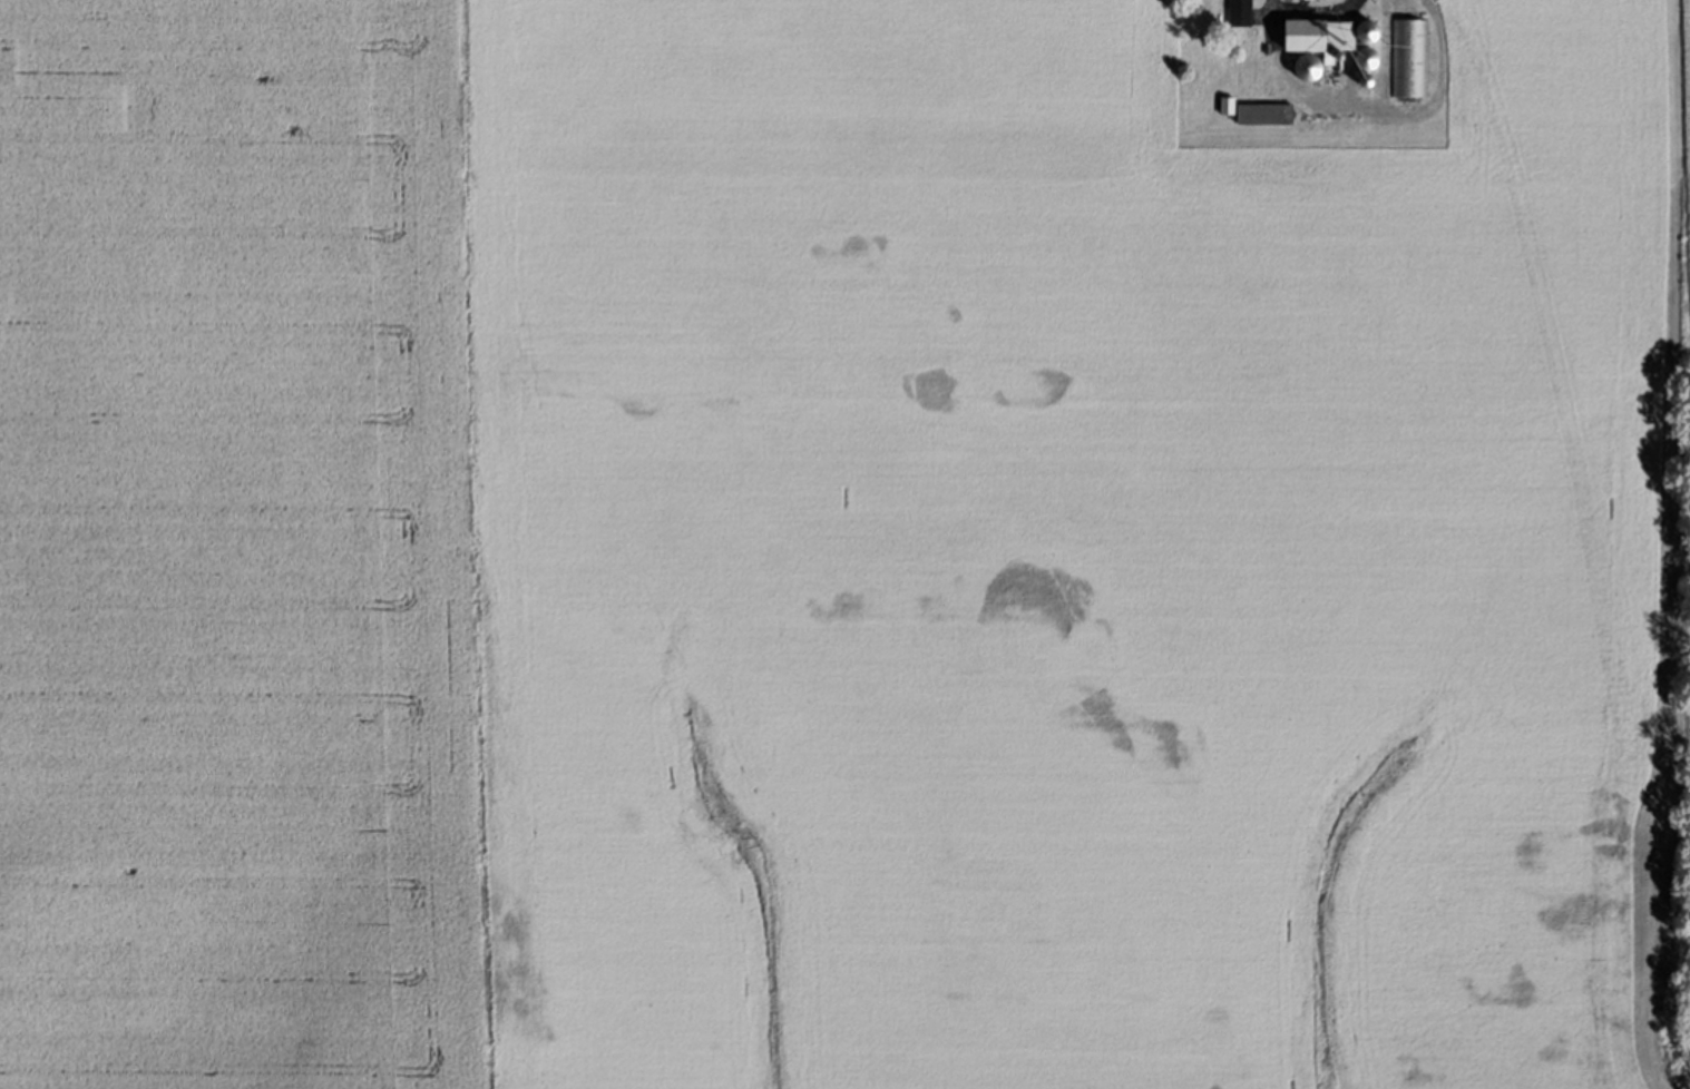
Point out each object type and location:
building: (1301, 0)
road: (1312, 11)
building: (1238, 13)
building: (1323, 41)
building: (1411, 59)
building: (1302, 70)
building: (1254, 115)

